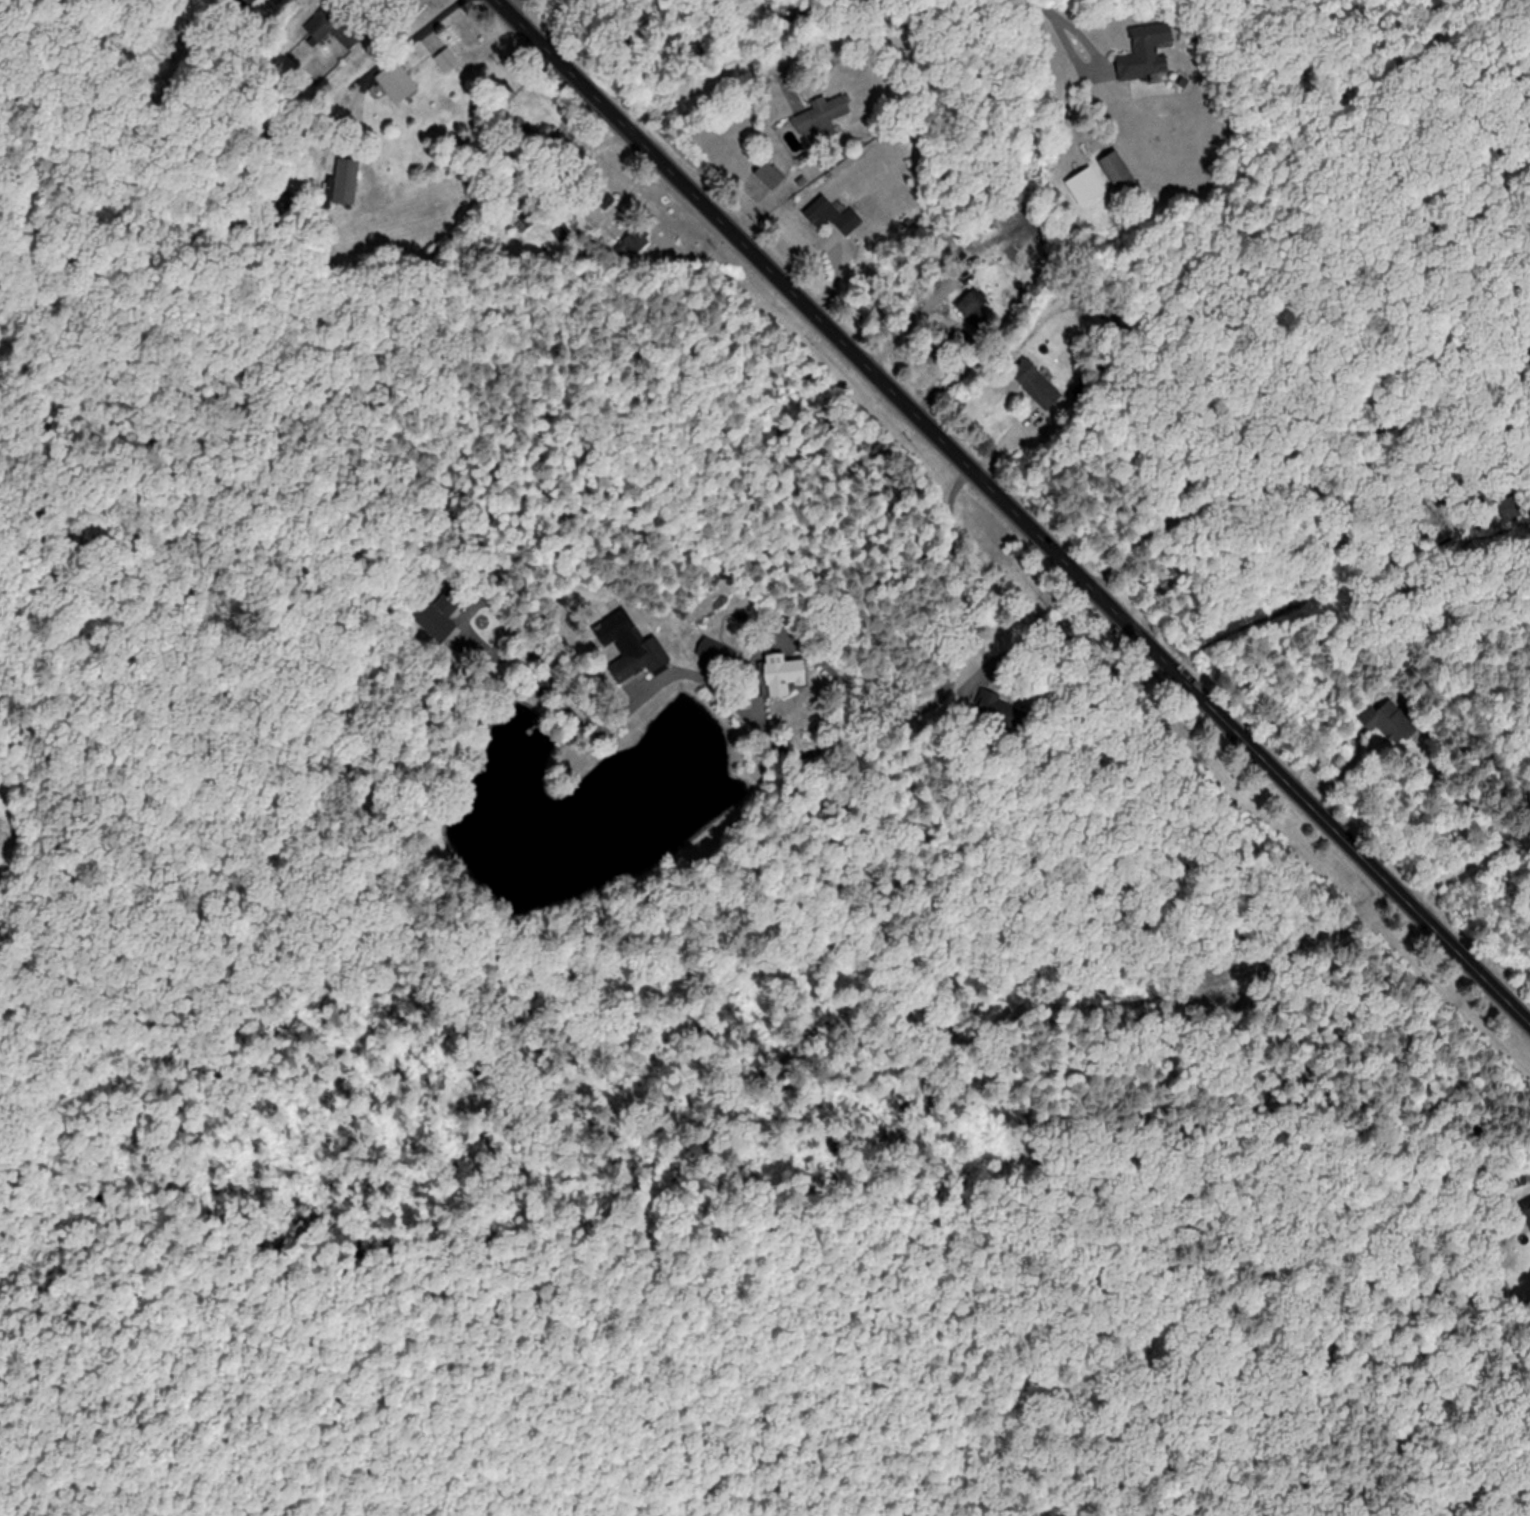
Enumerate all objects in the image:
building: (250, 3)
building: (335, 27)
road: (1065, 33)
road: (403, 36)
building: (1148, 51)
road: (783, 57)
building: (447, 59)
building: (398, 82)
building: (823, 115)
building: (525, 134)
road: (342, 141)
building: (1122, 173)
building: (773, 175)
building: (347, 180)
building: (835, 216)
building: (975, 310)
building: (1038, 384)
road: (1011, 512)
road: (1338, 537)
road: (954, 583)
building: (442, 613)
building: (633, 647)
building: (787, 673)
building: (1002, 710)
road: (857, 712)
building: (1394, 723)
park: (40, 792)
road: (1469, 865)
building: (1528, 1209)

